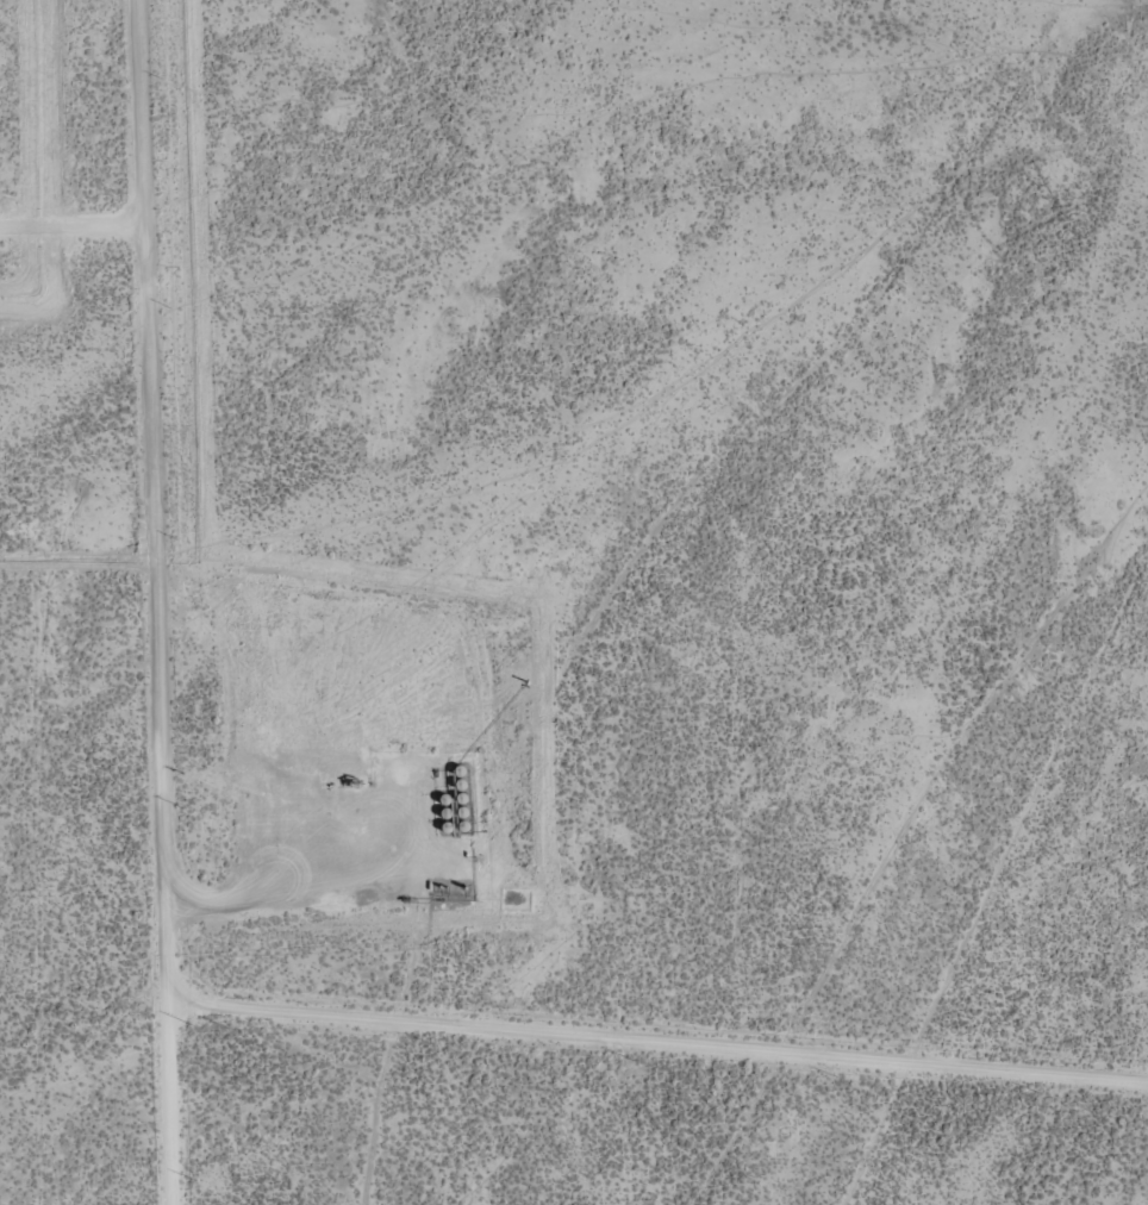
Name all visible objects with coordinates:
road: (617, 566)

